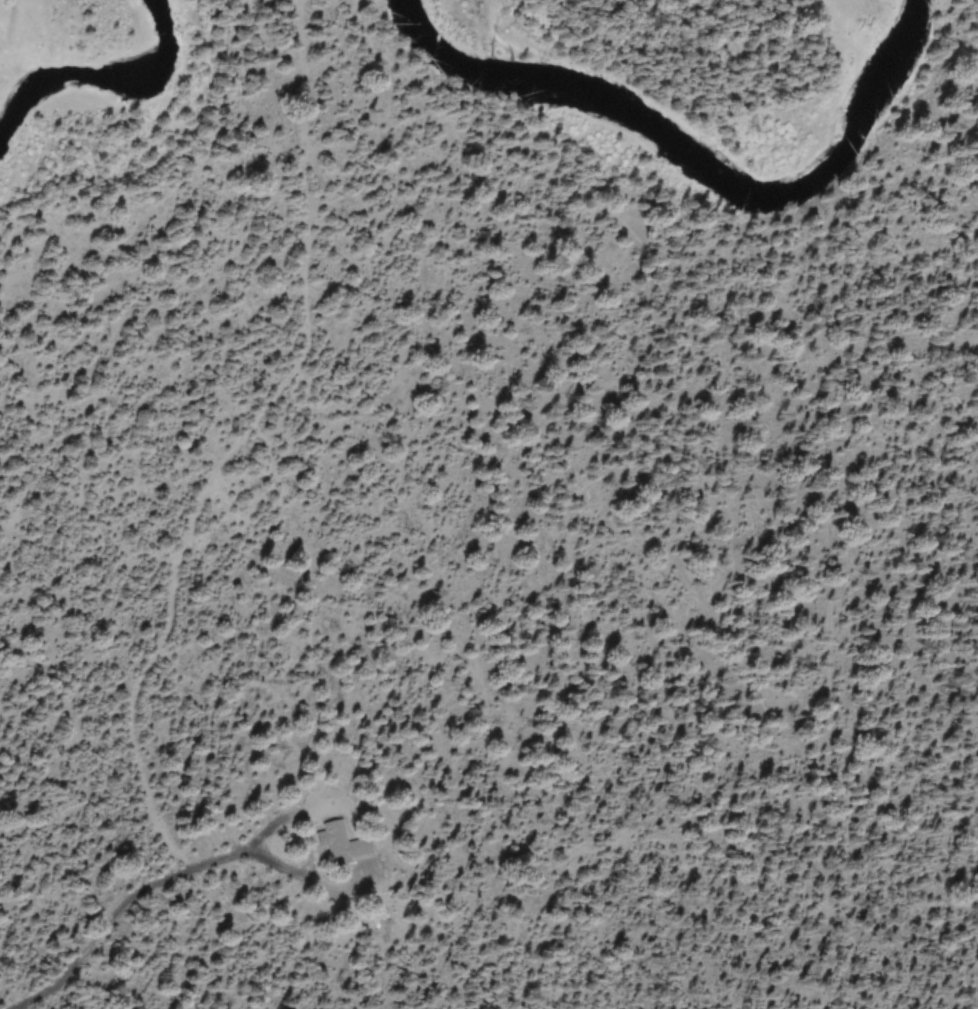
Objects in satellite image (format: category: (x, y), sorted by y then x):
river: (98, 80)
river: (693, 148)
road: (210, 487)
building: (345, 844)
road: (131, 918)

